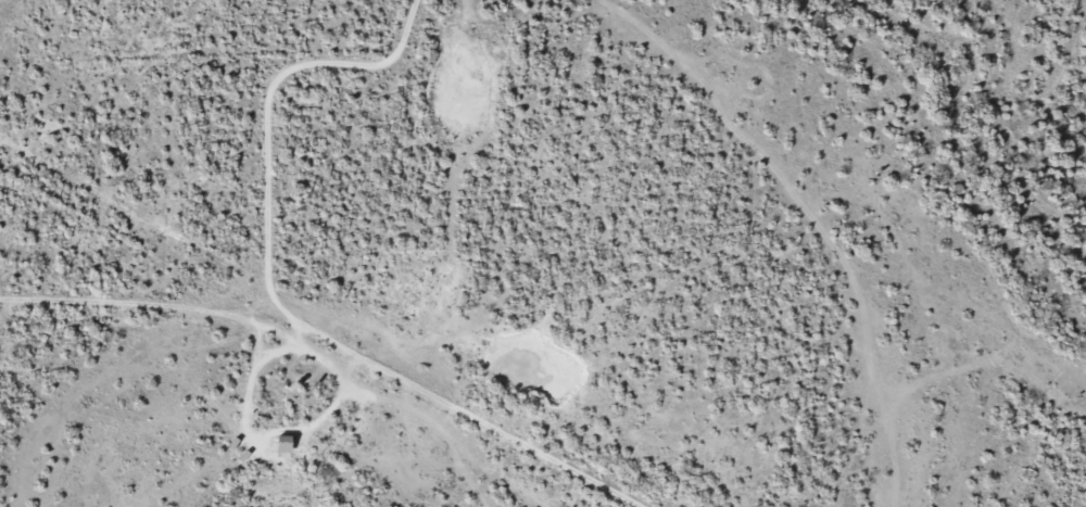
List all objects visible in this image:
road: (315, 339)

